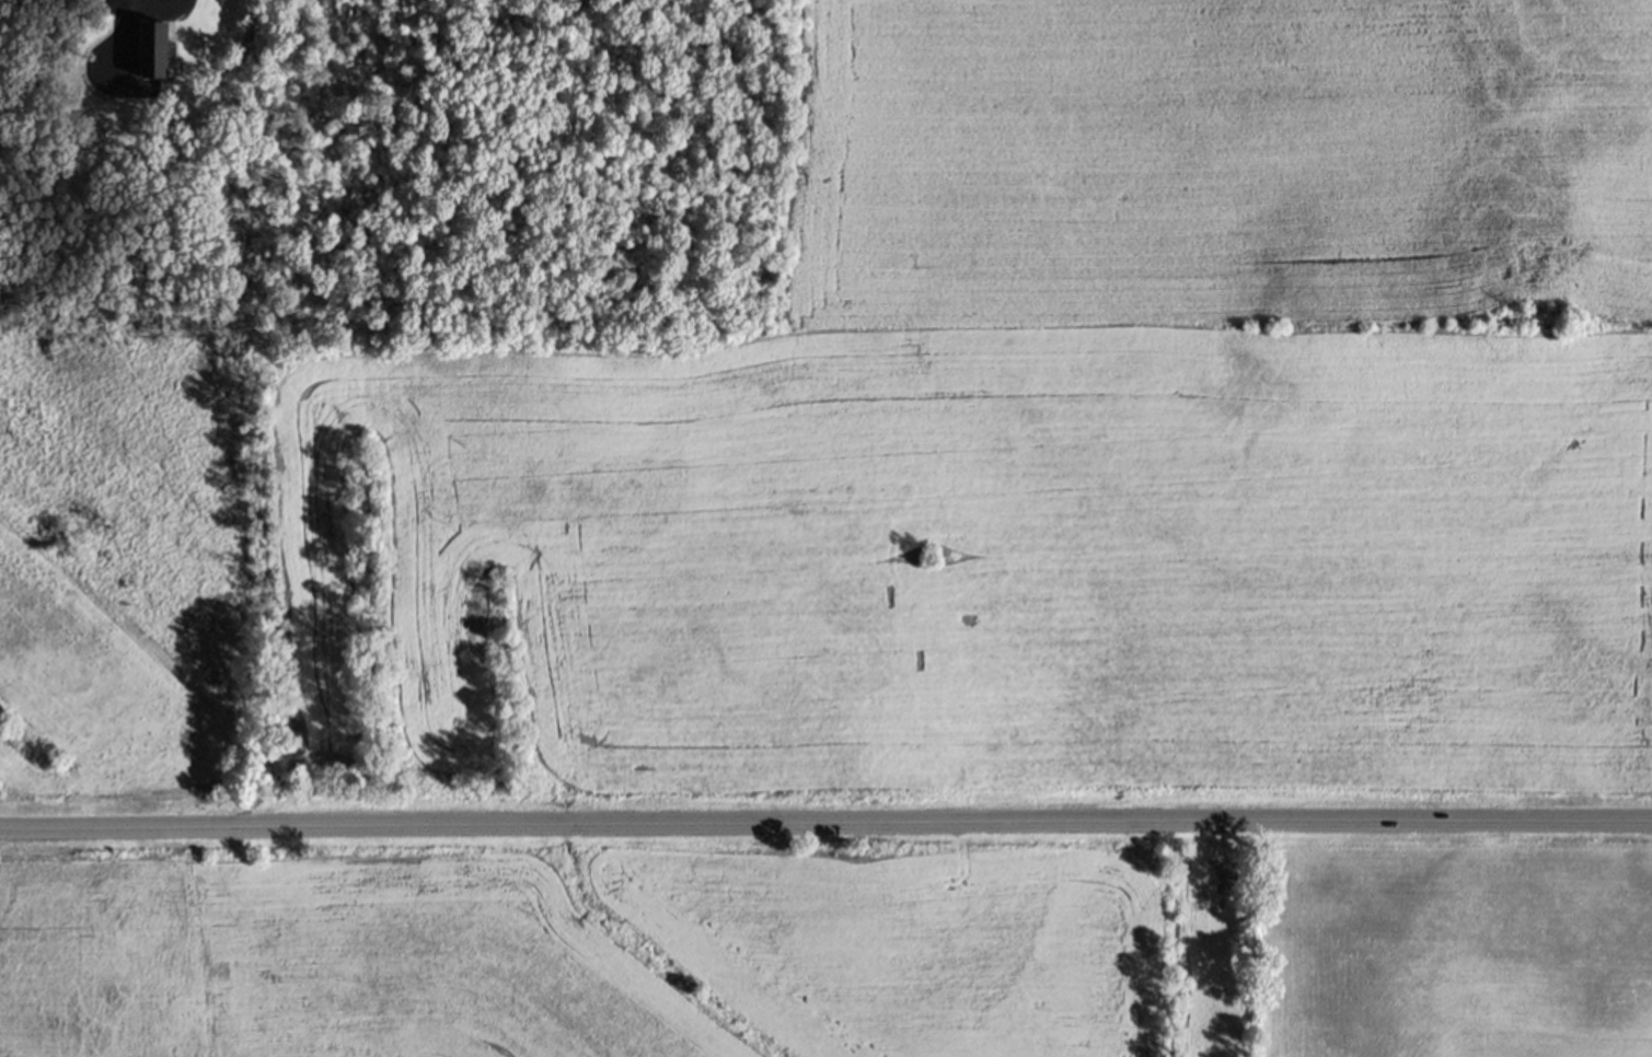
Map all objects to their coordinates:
building: (155, 50)
road: (107, 63)
building: (177, 150)
road: (825, 823)

